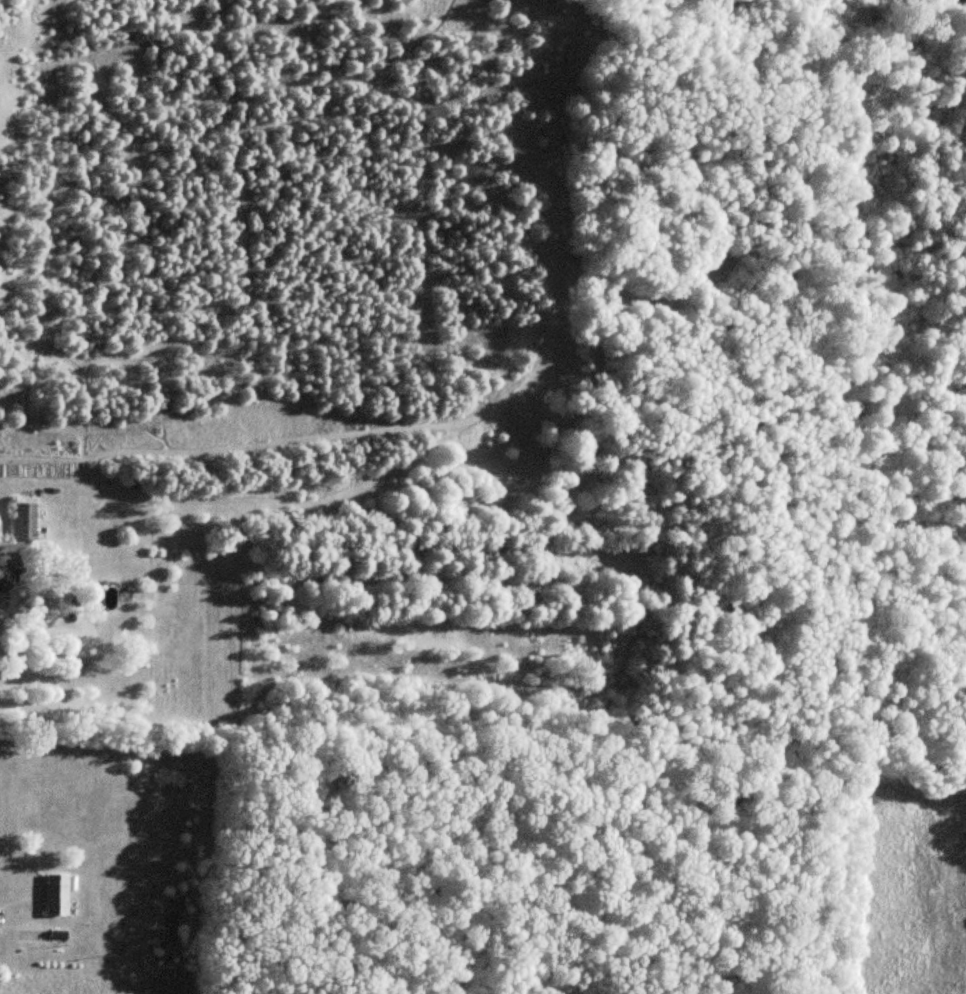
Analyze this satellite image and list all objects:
building: (22, 523)
road: (13, 566)
building: (107, 596)
building: (0, 600)
building: (54, 896)

